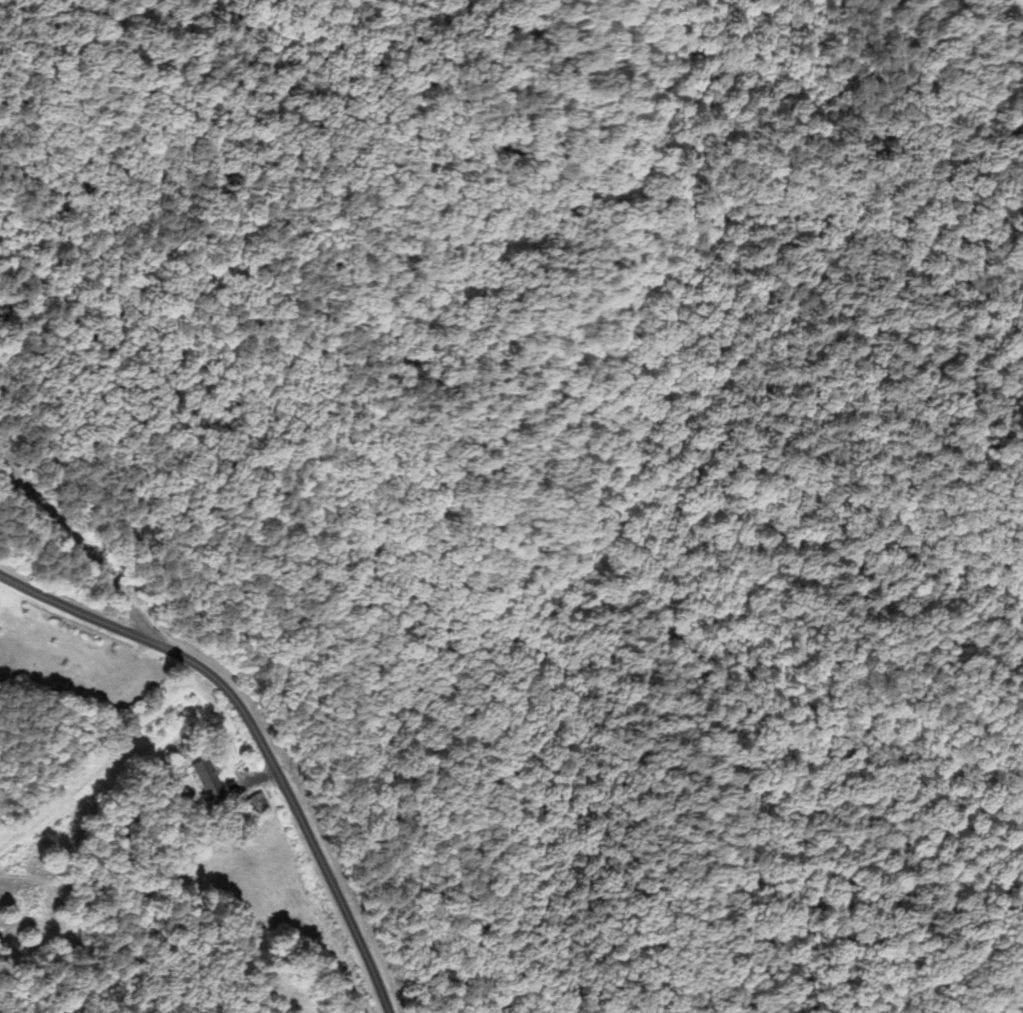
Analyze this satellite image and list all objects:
road: (79, 547)
road: (257, 734)
building: (210, 779)

